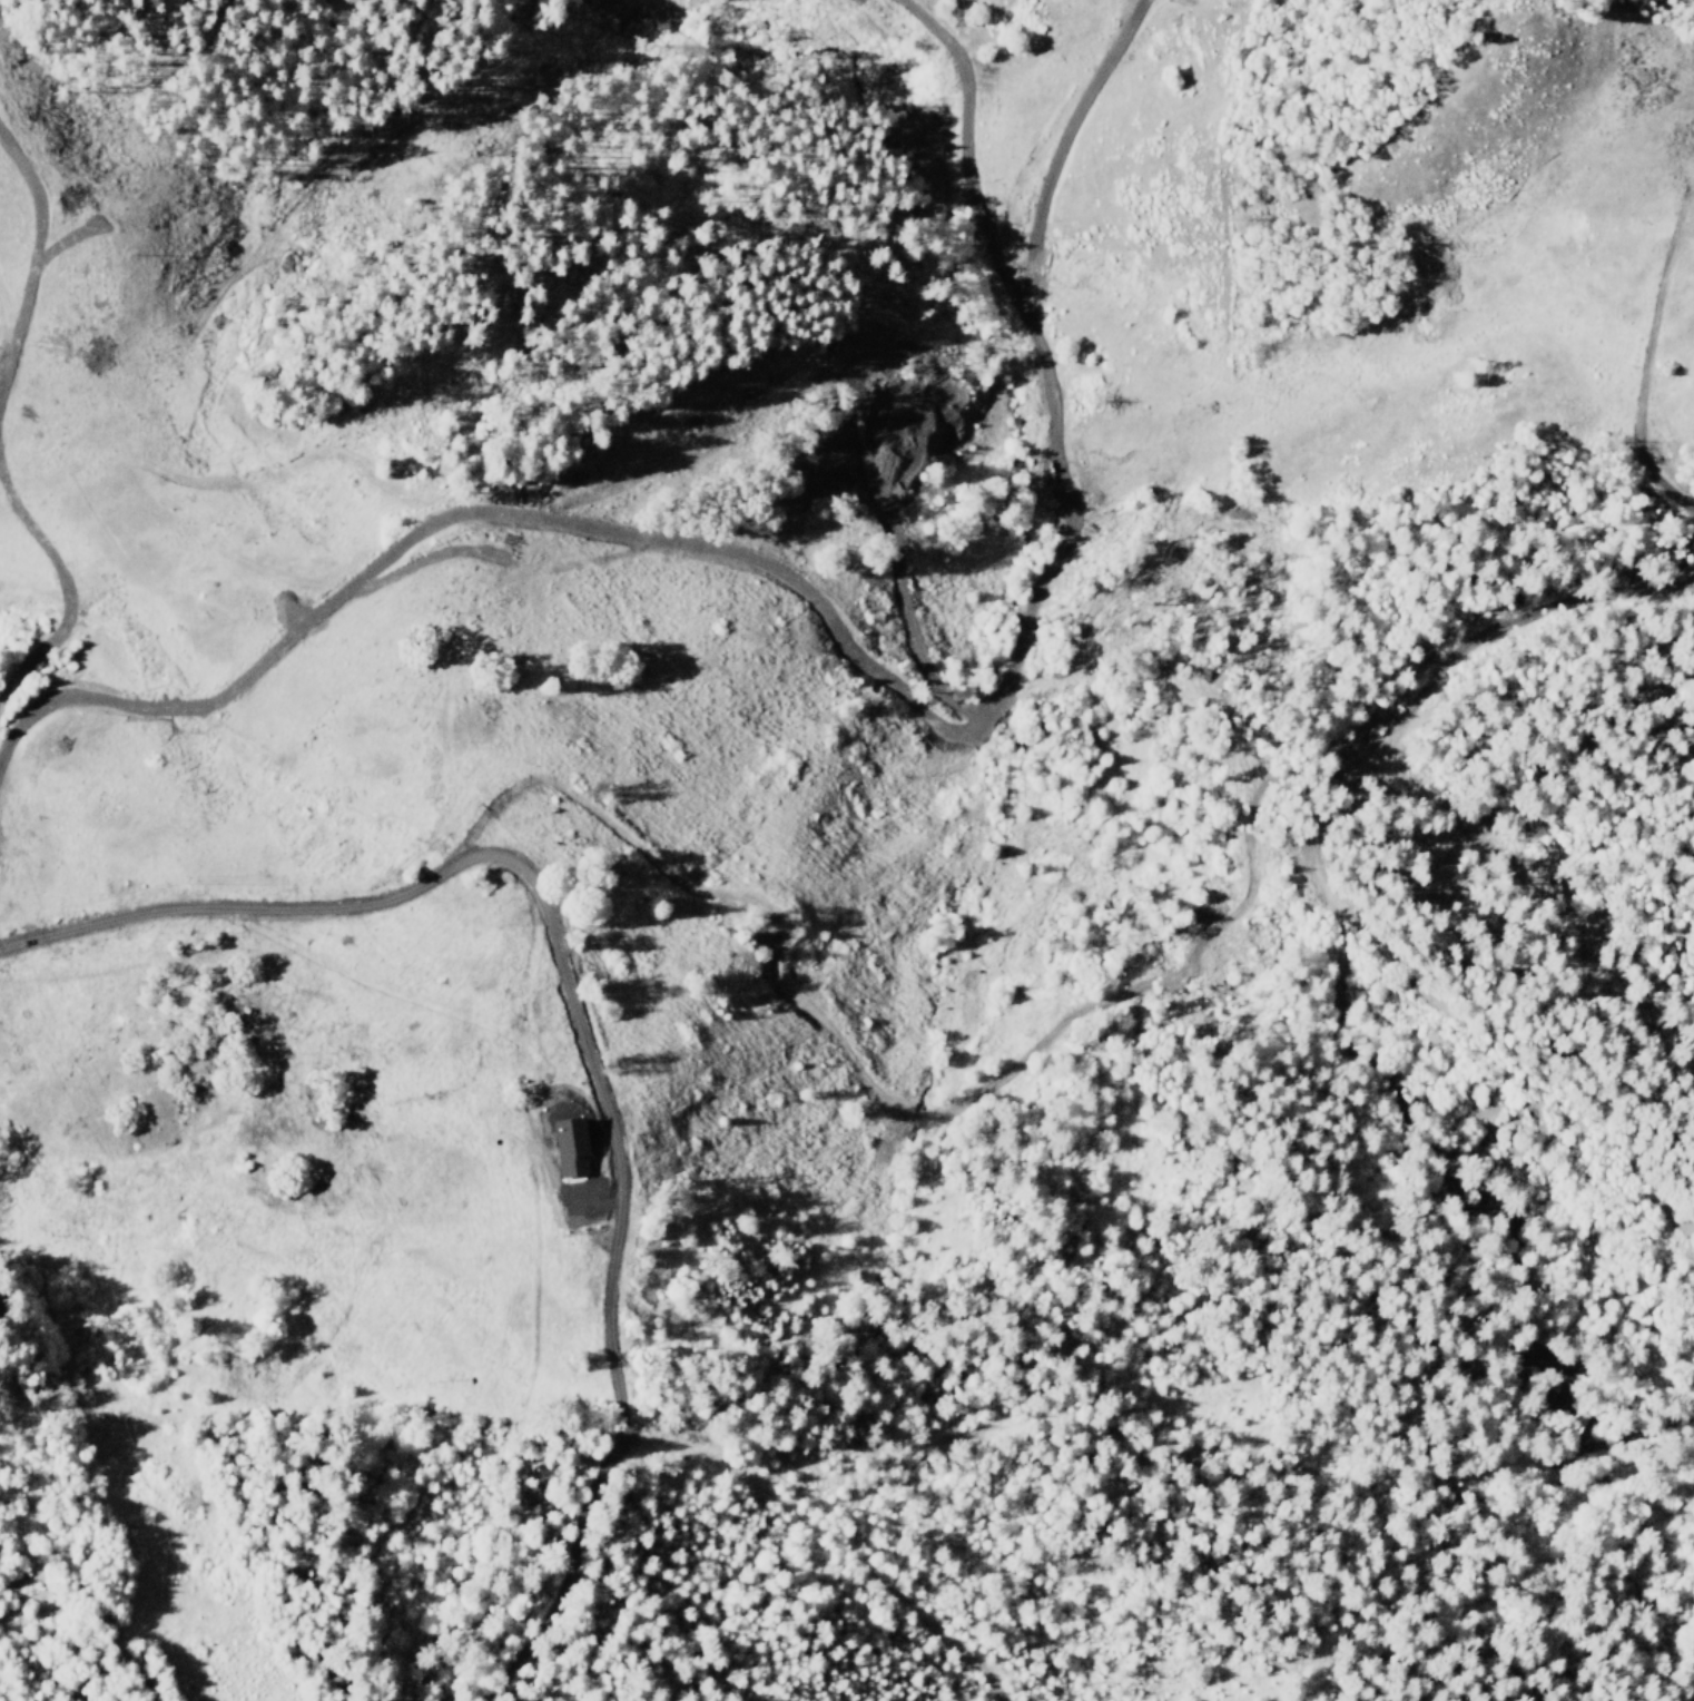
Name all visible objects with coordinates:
road: (845, 639)
building: (562, 1144)

